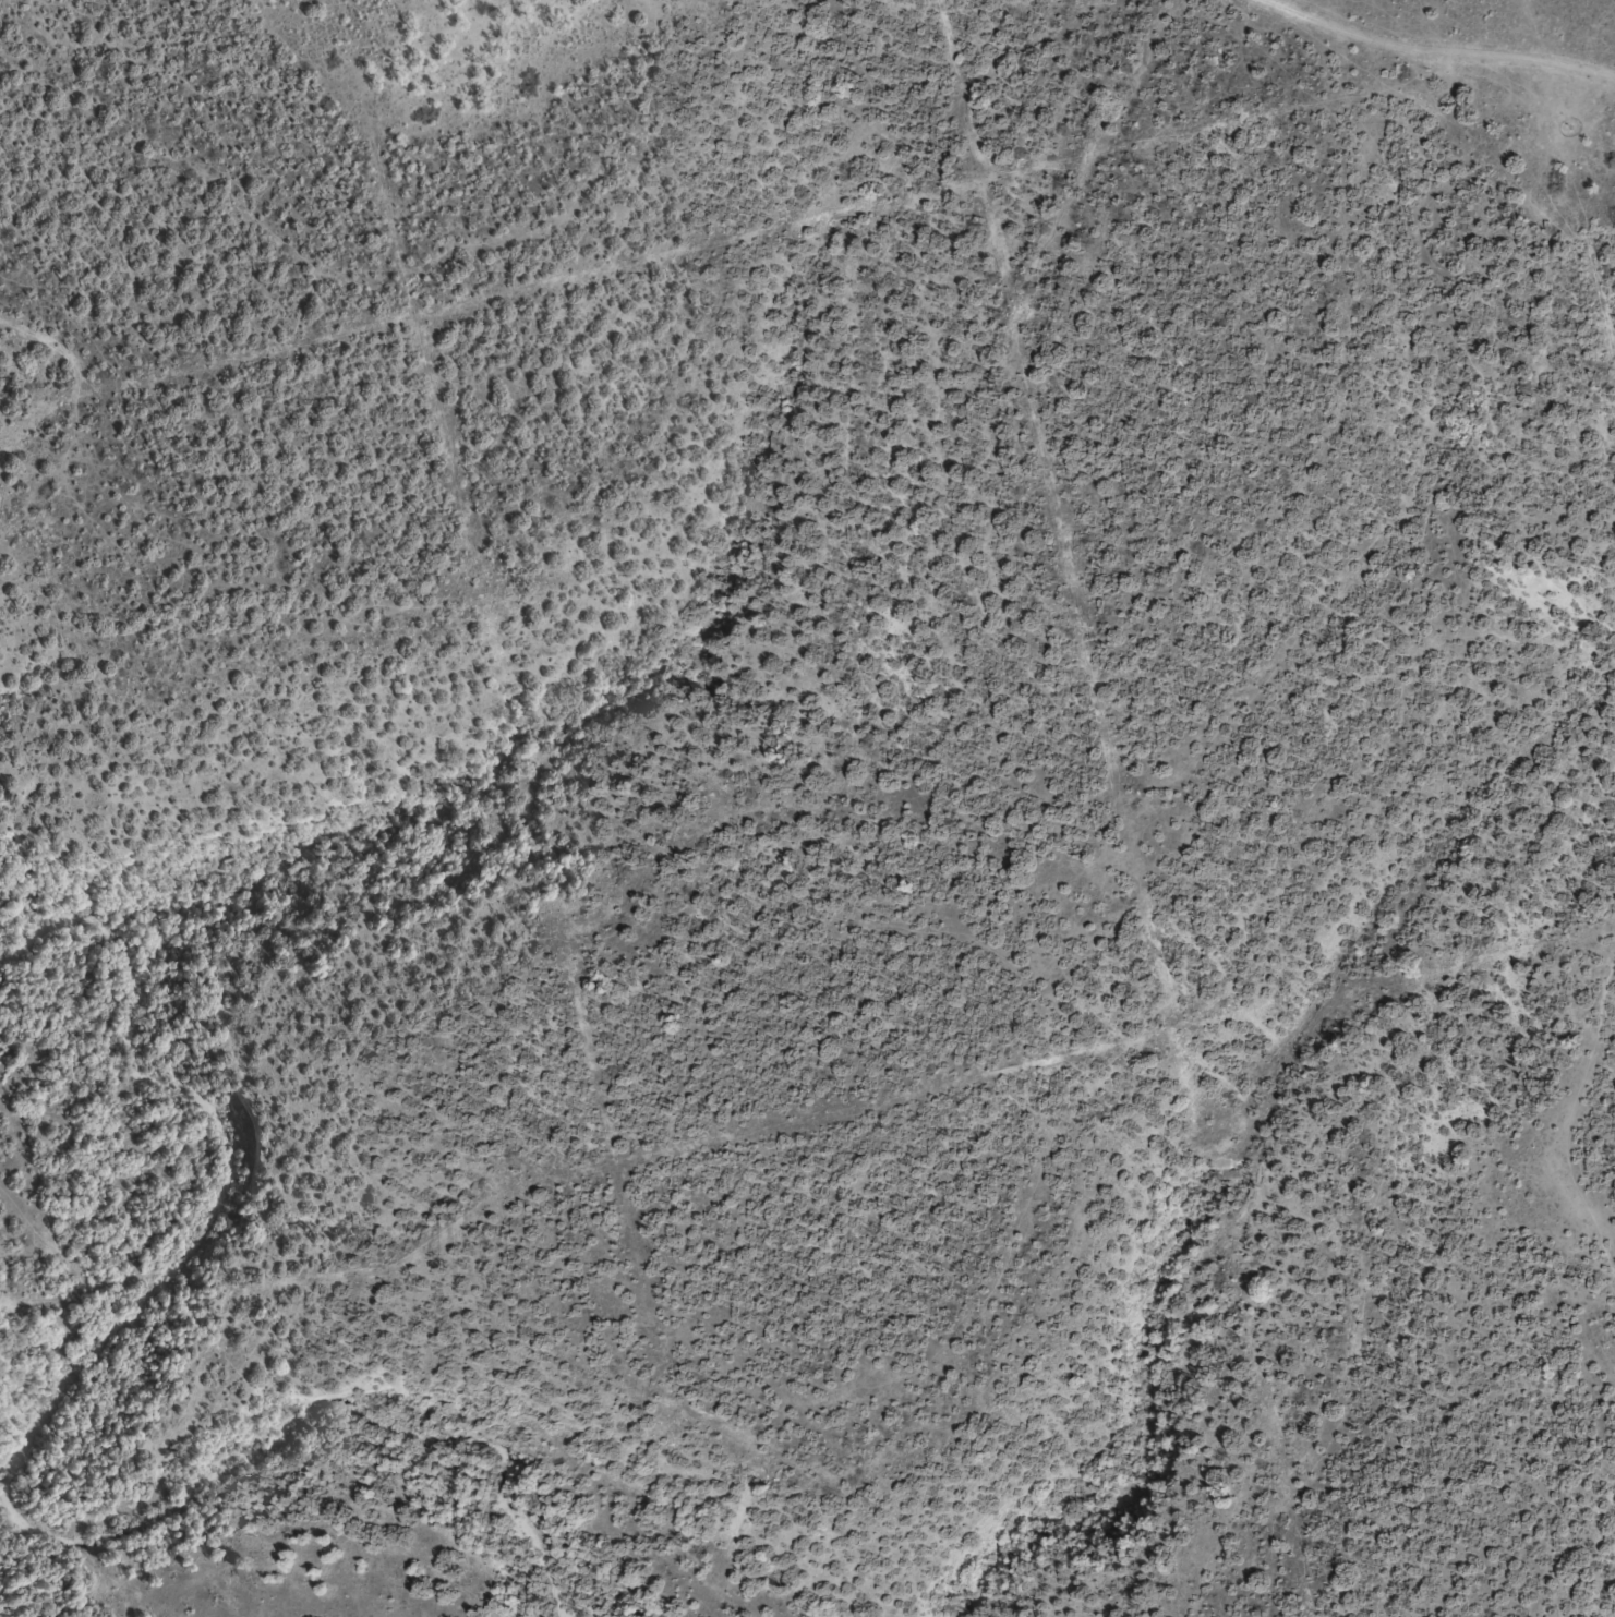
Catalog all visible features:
road: (1447, 62)
road: (1612, 1120)

